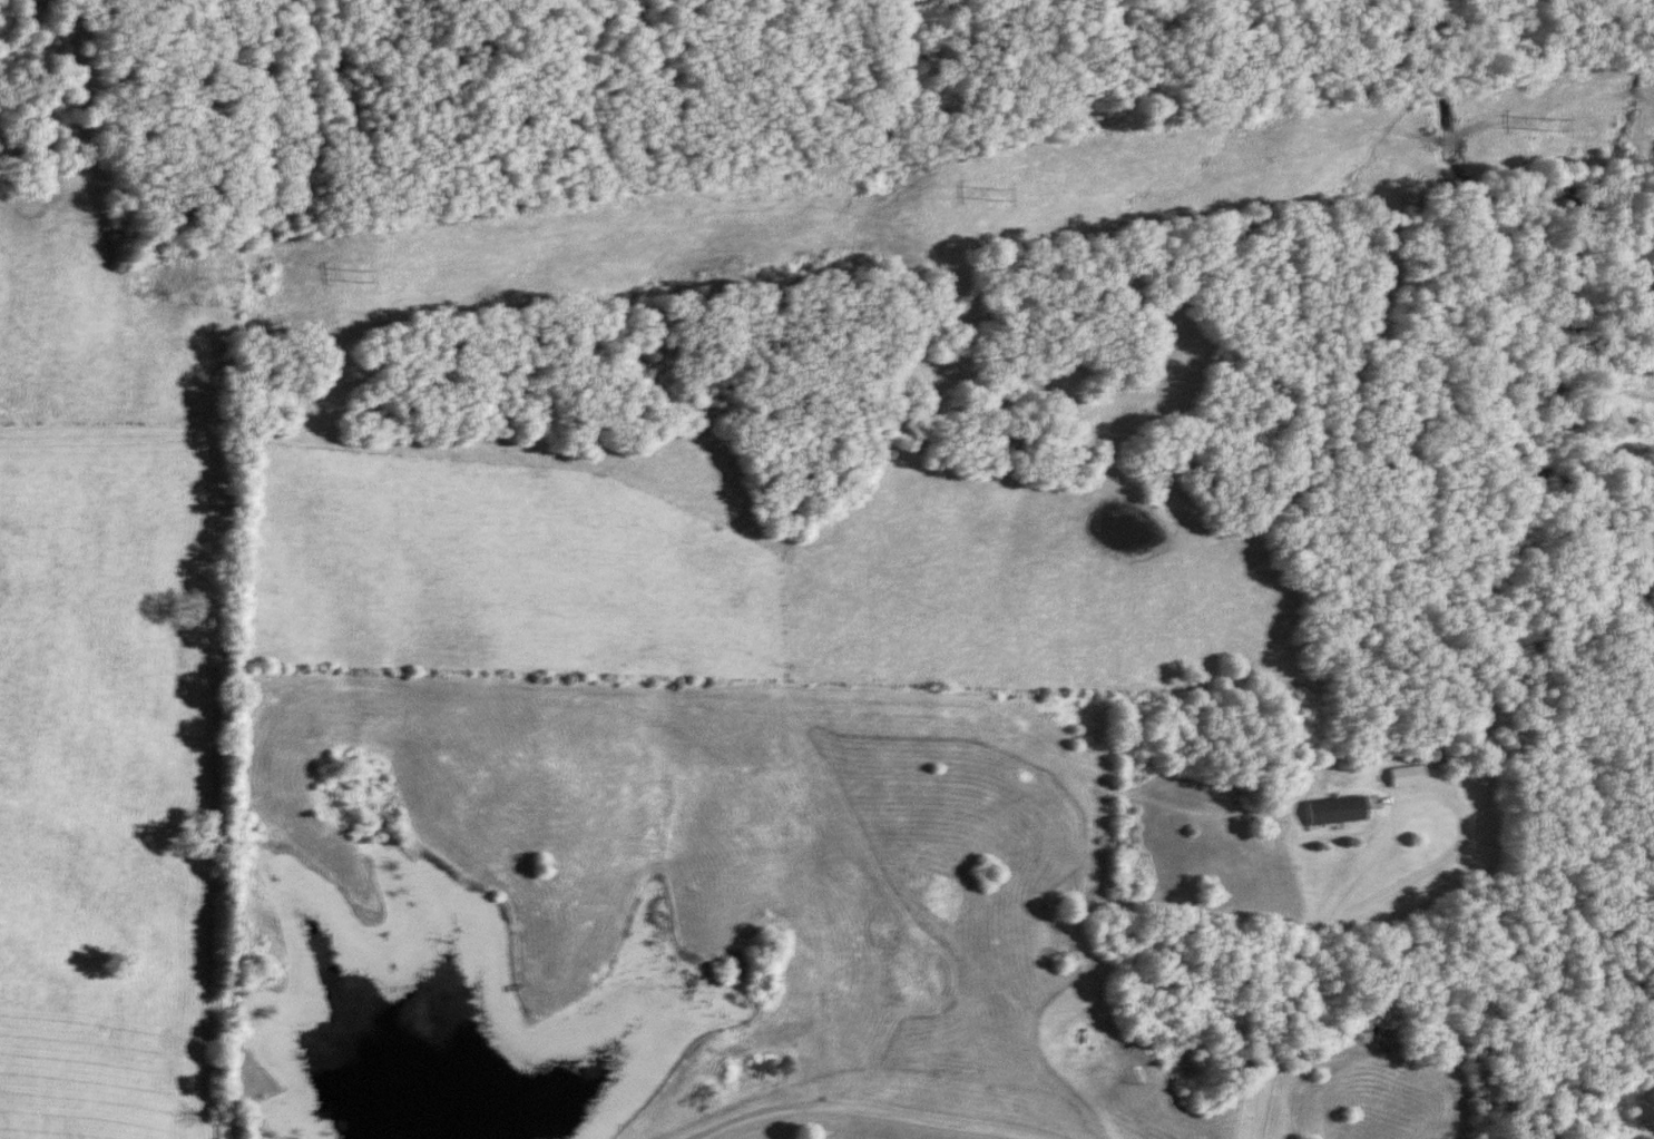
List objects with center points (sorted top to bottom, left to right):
power tower: (1546, 124)
power tower: (994, 196)
power tower: (355, 274)
building: (1400, 776)
road: (1451, 804)
building: (1327, 811)
road: (1272, 1028)
road: (862, 1107)

